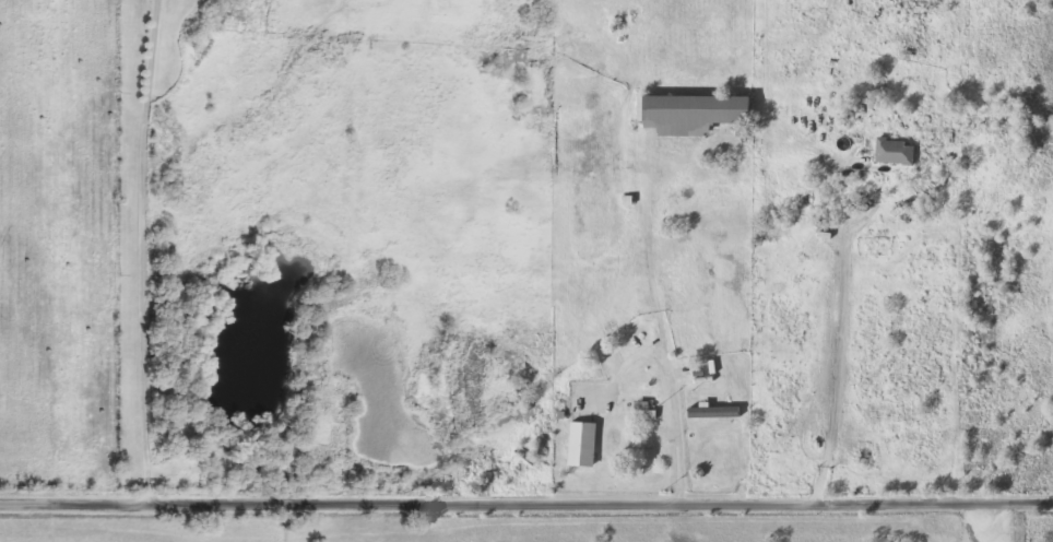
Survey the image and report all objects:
building: (698, 111)
building: (896, 150)
road: (147, 252)
road: (649, 259)
road: (833, 354)
road: (671, 379)
building: (582, 441)
road: (816, 485)
road: (525, 504)

